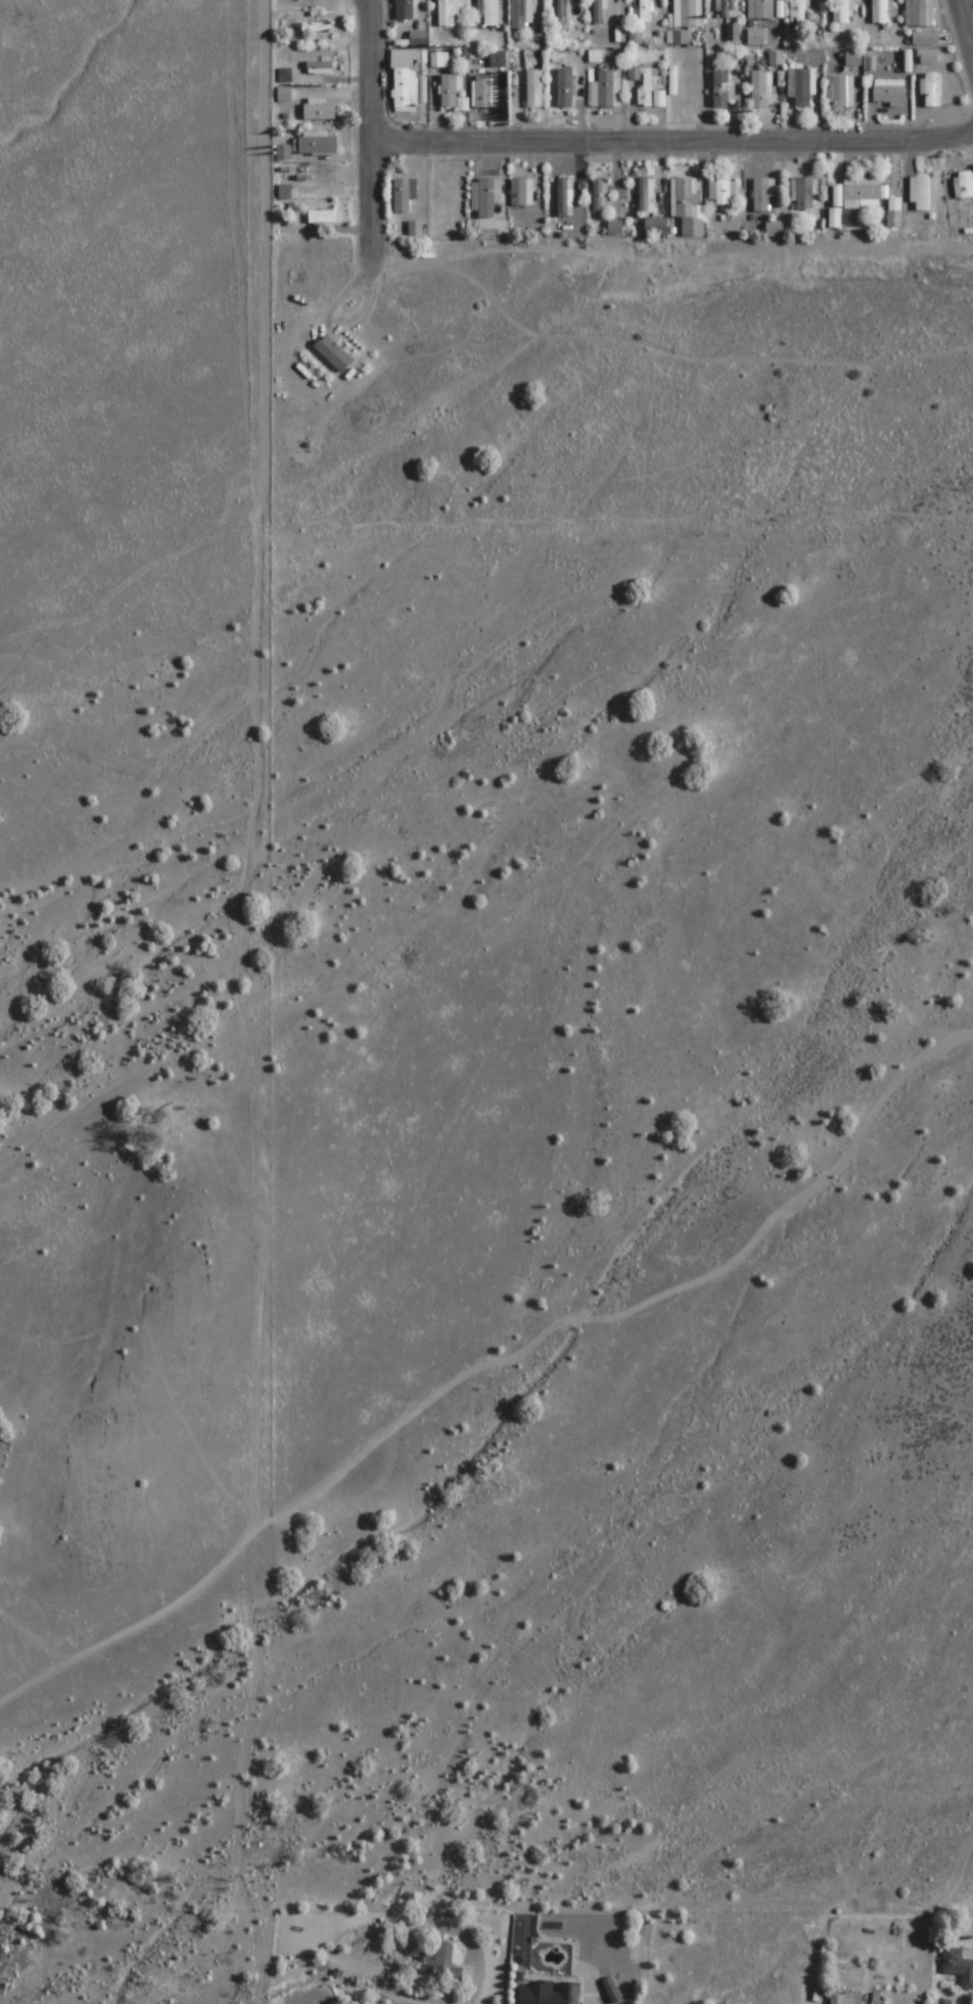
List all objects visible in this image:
road: (372, 5)
building: (726, 9)
building: (404, 10)
building: (762, 10)
building: (645, 11)
building: (797, 11)
building: (841, 11)
building: (880, 11)
building: (599, 12)
building: (447, 13)
building: (490, 13)
building: (687, 14)
building: (917, 14)
building: (562, 15)
building: (525, 20)
road: (966, 24)
building: (732, 33)
building: (636, 38)
building: (677, 38)
building: (755, 38)
building: (925, 39)
building: (926, 57)
building: (775, 58)
building: (497, 59)
building: (853, 59)
building: (869, 61)
building: (319, 68)
building: (284, 75)
building: (405, 81)
building: (672, 81)
building: (648, 86)
building: (800, 87)
building: (564, 88)
building: (534, 89)
building: (603, 89)
building: (720, 89)
building: (759, 90)
building: (932, 90)
building: (485, 91)
building: (840, 91)
building: (448, 92)
building: (889, 93)
building: (284, 95)
building: (319, 111)
road: (378, 135)
building: (317, 143)
road: (676, 145)
building: (965, 185)
building: (723, 192)
building: (520, 193)
building: (922, 193)
building: (600, 194)
building: (762, 194)
building: (804, 194)
building: (861, 194)
building: (404, 195)
building: (646, 195)
building: (563, 198)
building: (486, 199)
building: (687, 207)
building: (322, 221)
building: (654, 227)
building: (614, 228)
building: (774, 229)
building: (333, 354)
road: (515, 993)
building: (440, 1961)
building: (958, 1967)
building: (548, 1993)
building: (845, 1999)
building: (941, 2002)

